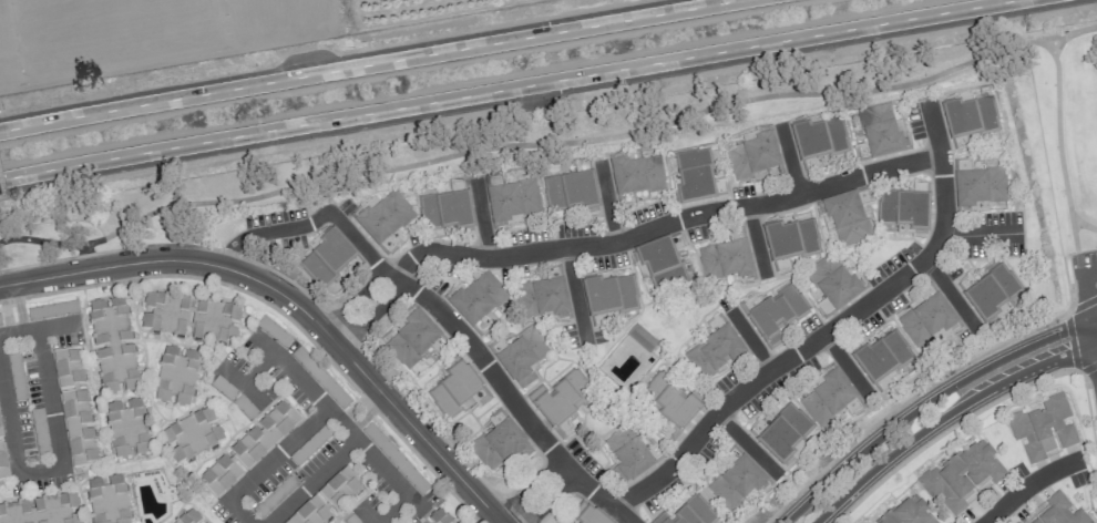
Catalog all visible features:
road: (1066, 33)
road: (1059, 44)
road: (369, 64)
road: (509, 89)
building: (970, 115)
park: (585, 126)
road: (646, 130)
building: (818, 141)
building: (753, 155)
road: (789, 160)
building: (776, 173)
building: (637, 174)
building: (697, 176)
building: (978, 187)
building: (570, 192)
road: (1, 193)
building: (512, 201)
road: (607, 202)
building: (906, 208)
building: (447, 211)
building: (847, 218)
building: (386, 219)
road: (482, 221)
road: (666, 224)
road: (1083, 224)
road: (267, 232)
road: (978, 235)
road: (756, 240)
building: (789, 242)
road: (176, 244)
road: (360, 245)
building: (327, 257)
building: (726, 260)
parking lot: (1084, 263)
building: (660, 266)
building: (833, 281)
road: (9, 290)
building: (990, 293)
road: (575, 294)
road: (950, 295)
road: (358, 296)
building: (608, 296)
building: (543, 297)
road: (294, 301)
building: (478, 301)
road: (18, 311)
building: (775, 312)
road: (7, 314)
road: (375, 314)
building: (189, 318)
building: (926, 319)
building: (0, 325)
road: (1084, 325)
road: (37, 327)
road: (832, 327)
road: (1070, 335)
building: (412, 339)
road: (753, 342)
building: (113, 346)
road: (1086, 348)
building: (714, 352)
building: (880, 356)
building: (522, 357)
road: (845, 365)
building: (16, 375)
building: (176, 376)
building: (882, 384)
building: (457, 390)
road: (915, 394)
road: (376, 396)
road: (512, 398)
building: (828, 399)
building: (562, 402)
building: (669, 403)
road: (353, 404)
building: (74, 408)
road: (915, 410)
road: (363, 416)
road: (935, 422)
building: (1044, 428)
building: (127, 429)
road: (351, 429)
building: (0, 434)
building: (782, 434)
building: (192, 435)
road: (744, 441)
building: (500, 444)
building: (249, 449)
building: (628, 454)
building: (2, 463)
road: (53, 463)
building: (962, 476)
building: (737, 483)
road: (1027, 486)
road: (539, 495)
building: (327, 499)
building: (107, 500)
building: (42, 510)
road: (245, 512)
building: (908, 512)
building: (1059, 512)
building: (688, 513)
building: (588, 514)
building: (189, 517)
building: (438, 517)
building: (867, 522)
building: (1017, 522)

